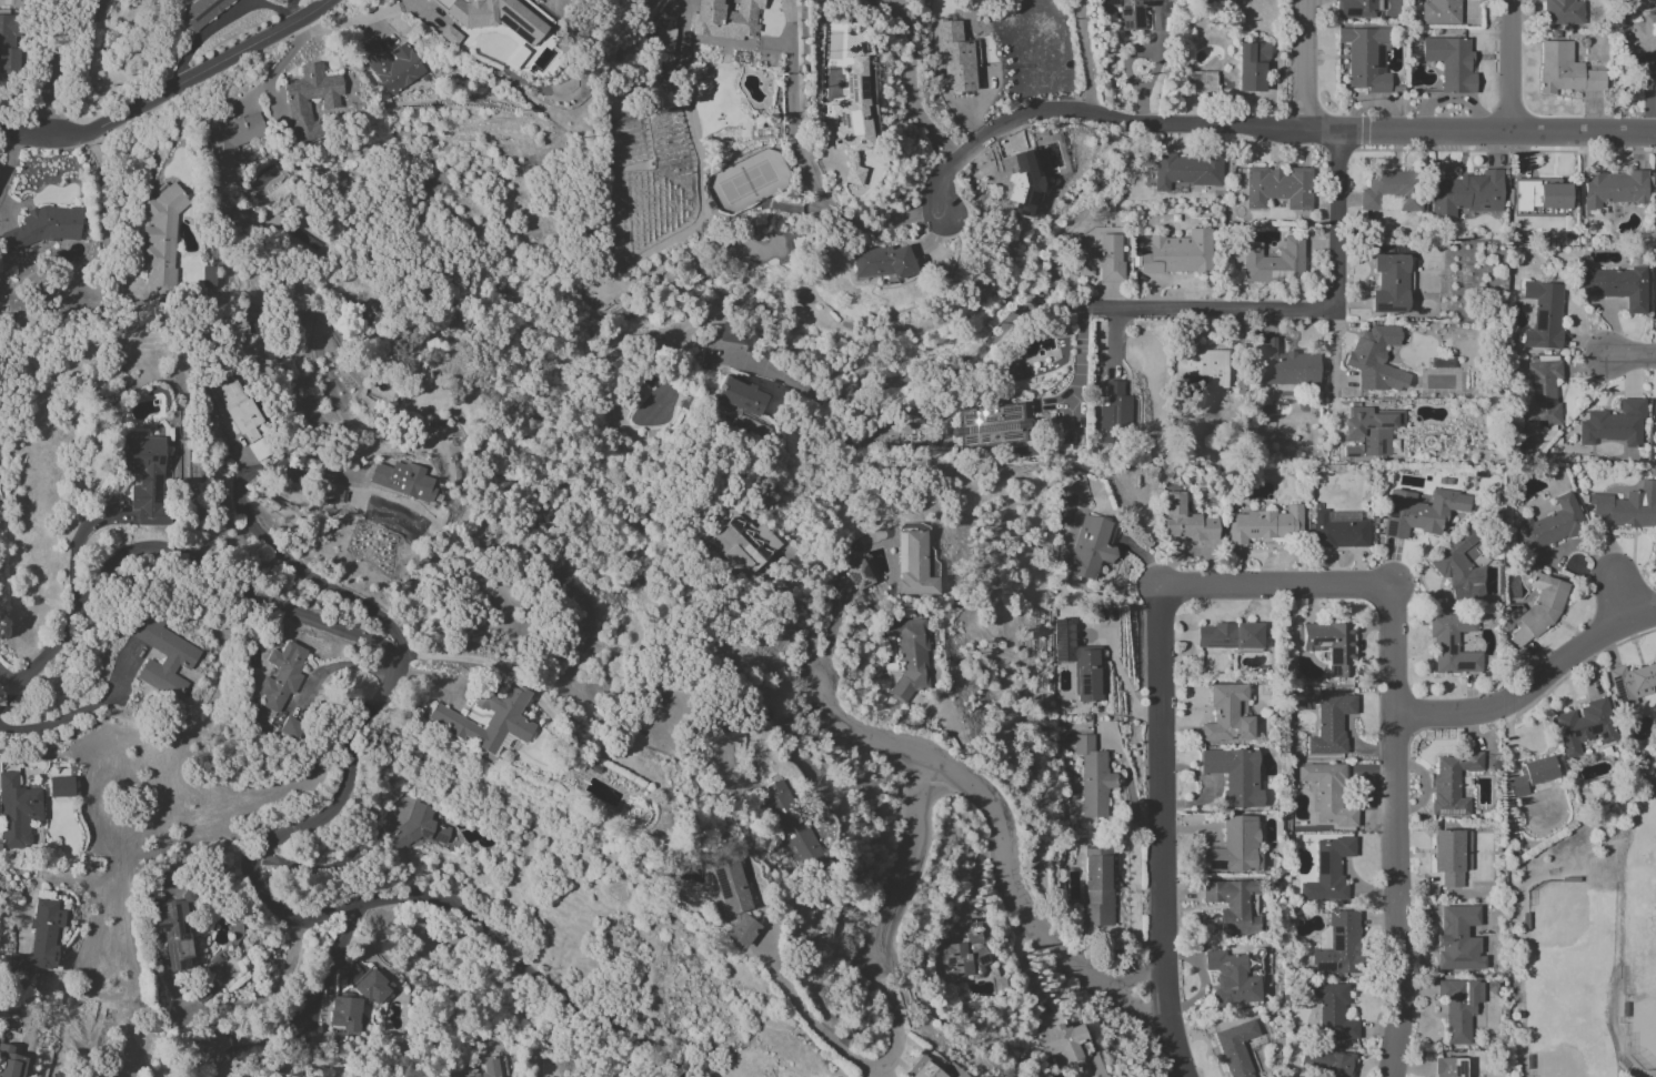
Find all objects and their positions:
building: (1356, 9)
road: (291, 10)
building: (199, 11)
building: (1128, 12)
building: (1439, 12)
building: (1563, 12)
building: (494, 17)
building: (726, 18)
road: (221, 24)
building: (450, 36)
building: (1642, 38)
building: (665, 39)
building: (8, 41)
building: (514, 57)
building: (954, 57)
road: (1080, 57)
building: (1364, 58)
building: (1449, 62)
road: (54, 63)
building: (390, 64)
building: (1252, 66)
road: (1305, 66)
road: (1509, 67)
building: (1564, 70)
road: (1152, 71)
road: (190, 79)
building: (1201, 81)
building: (298, 103)
road: (1100, 115)
building: (853, 119)
road: (22, 132)
road: (1479, 133)
building: (228, 143)
road: (8, 154)
road: (804, 165)
building: (1185, 171)
building: (1024, 187)
building: (1278, 187)
building: (1613, 189)
building: (1391, 190)
building: (1466, 194)
building: (1539, 194)
building: (1655, 194)
road: (101, 218)
building: (44, 227)
building: (160, 238)
building: (1177, 253)
building: (1102, 259)
building: (882, 262)
building: (1274, 262)
building: (1388, 283)
building: (1616, 285)
building: (1655, 298)
road: (1313, 312)
building: (1543, 314)
building: (732, 335)
road: (1078, 348)
building: (1377, 359)
road: (1335, 361)
road: (1632, 361)
building: (1287, 365)
building: (1200, 370)
building: (741, 396)
building: (1540, 396)
building: (1114, 411)
building: (1614, 424)
building: (991, 425)
building: (1368, 431)
building: (145, 476)
building: (405, 481)
building: (1627, 506)
building: (1419, 512)
building: (1186, 521)
building: (1265, 524)
building: (1552, 524)
building: (1338, 532)
road: (261, 536)
road: (73, 543)
building: (743, 544)
building: (1088, 547)
building: (913, 565)
building: (1459, 571)
building: (861, 573)
road: (1341, 591)
road: (1622, 598)
building: (1536, 608)
road: (831, 628)
building: (1228, 635)
building: (1453, 644)
building: (1331, 645)
building: (909, 655)
building: (1078, 660)
building: (178, 662)
building: (281, 675)
building: (1632, 683)
road: (8, 684)
road: (1533, 686)
road: (77, 712)
building: (1228, 714)
building: (488, 716)
building: (1331, 724)
building: (1585, 725)
building: (291, 728)
road: (349, 775)
building: (1532, 775)
building: (1235, 776)
building: (1093, 777)
building: (1452, 783)
building: (1327, 793)
building: (17, 811)
building: (793, 826)
building: (420, 827)
road: (1003, 832)
road: (1164, 835)
building: (1234, 847)
building: (1451, 856)
building: (1327, 870)
road: (899, 878)
building: (1097, 888)
road: (1398, 896)
building: (733, 899)
building: (1232, 905)
park: (1558, 917)
building: (175, 933)
building: (1452, 933)
building: (40, 939)
building: (1337, 945)
building: (964, 956)
road: (327, 973)
building: (1231, 978)
building: (373, 987)
road: (245, 1003)
building: (1458, 1007)
building: (1332, 1010)
building: (344, 1015)
park: (1650, 1029)
road: (832, 1038)
building: (1065, 1043)
building: (212, 1044)
building: (1236, 1048)
road: (253, 1049)
building: (11, 1061)
building: (1328, 1063)
building: (1451, 1067)
building: (485, 1068)
park: (1556, 1068)
building: (924, 1069)

